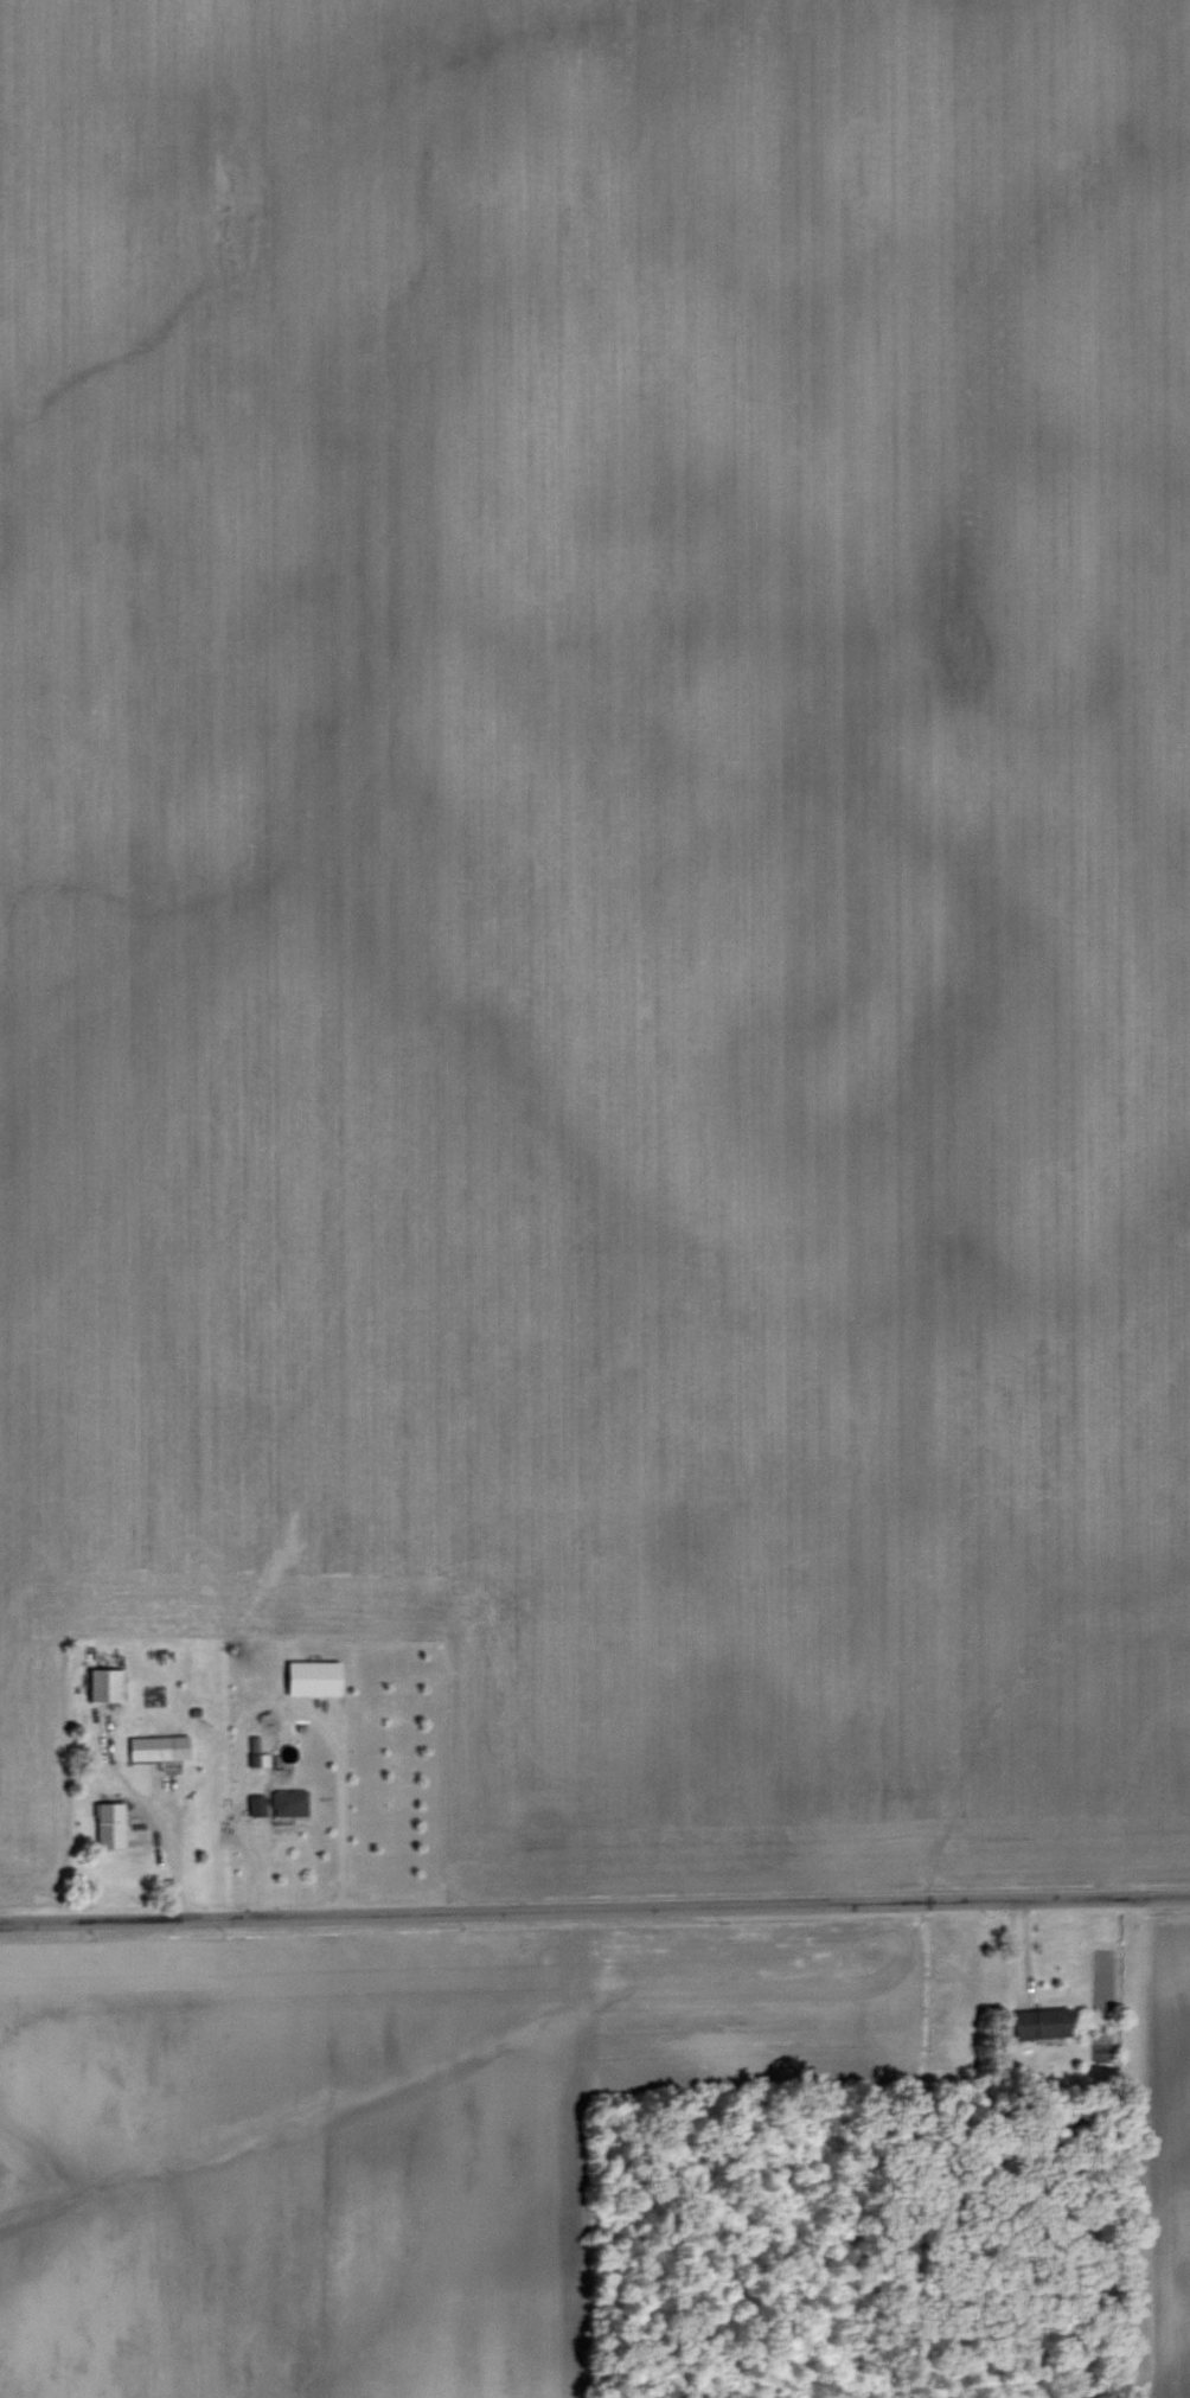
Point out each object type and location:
building: (102, 1683)
building: (251, 1741)
building: (156, 1745)
building: (288, 1801)
building: (254, 1802)
building: (108, 1823)
road: (173, 1841)
road: (594, 1908)
building: (1041, 2021)

